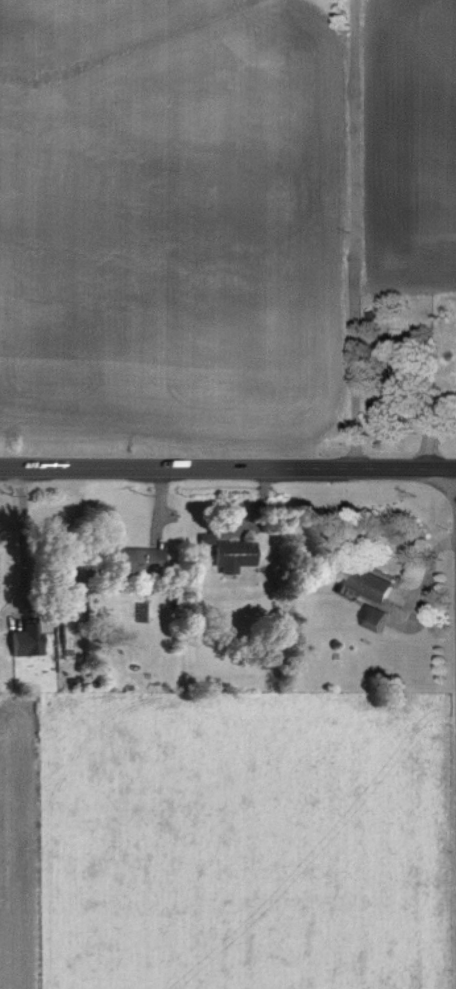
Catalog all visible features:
road: (357, 237)
road: (228, 473)
road: (20, 545)
building: (231, 555)
building: (129, 559)
building: (362, 583)
building: (371, 618)
building: (22, 640)

